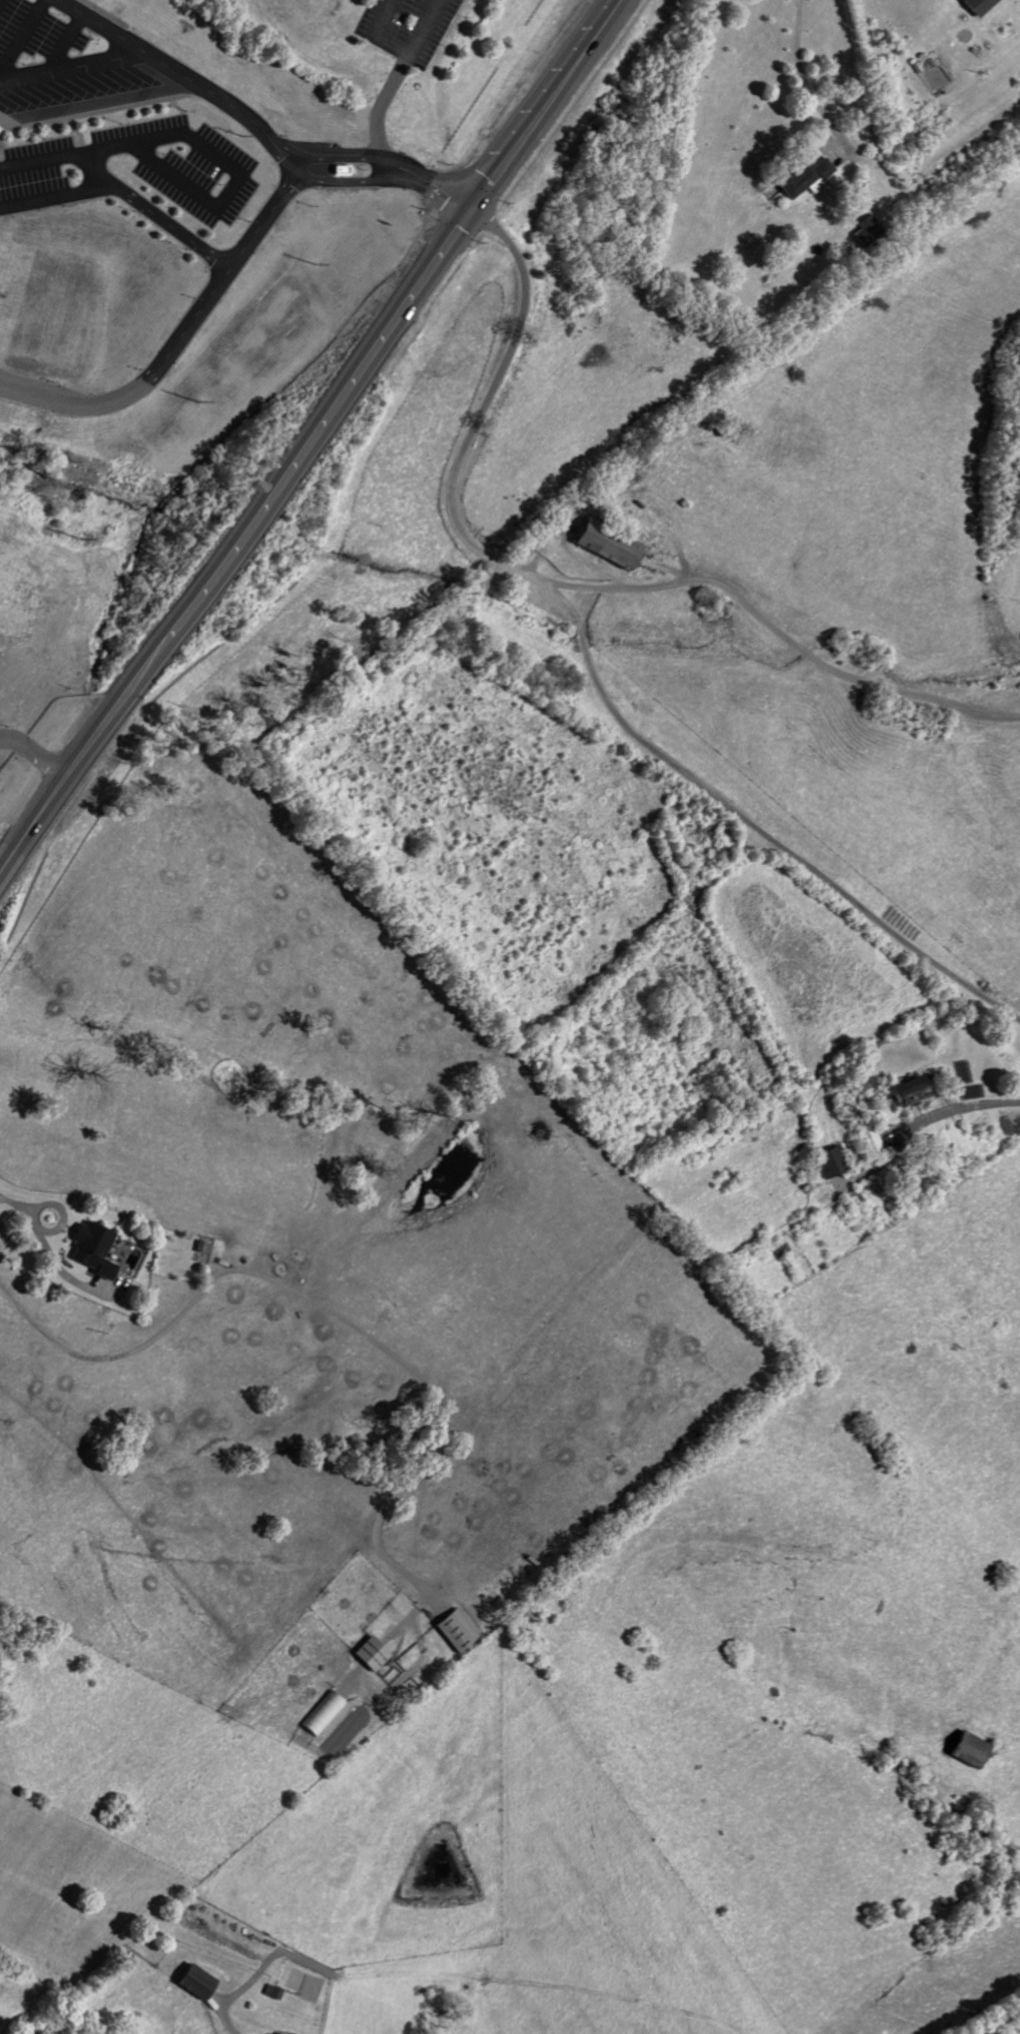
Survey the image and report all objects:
building: (980, 6)
road: (395, 17)
parking lot: (406, 27)
road: (71, 66)
road: (177, 70)
road: (801, 74)
road: (394, 76)
road: (146, 138)
road: (41, 160)
road: (383, 161)
road: (287, 169)
building: (807, 178)
road: (383, 182)
road: (51, 195)
building: (869, 232)
road: (173, 344)
road: (311, 434)
building: (608, 544)
road: (783, 639)
road: (592, 667)
road: (34, 752)
building: (911, 1090)
road: (979, 1107)
building: (872, 1140)
building: (831, 1163)
road: (60, 1213)
building: (203, 1248)
building: (93, 1249)
road: (47, 1251)
road: (326, 1310)
building: (458, 1631)
building: (372, 1654)
building: (324, 1714)
building: (971, 1751)
building: (197, 1983)

